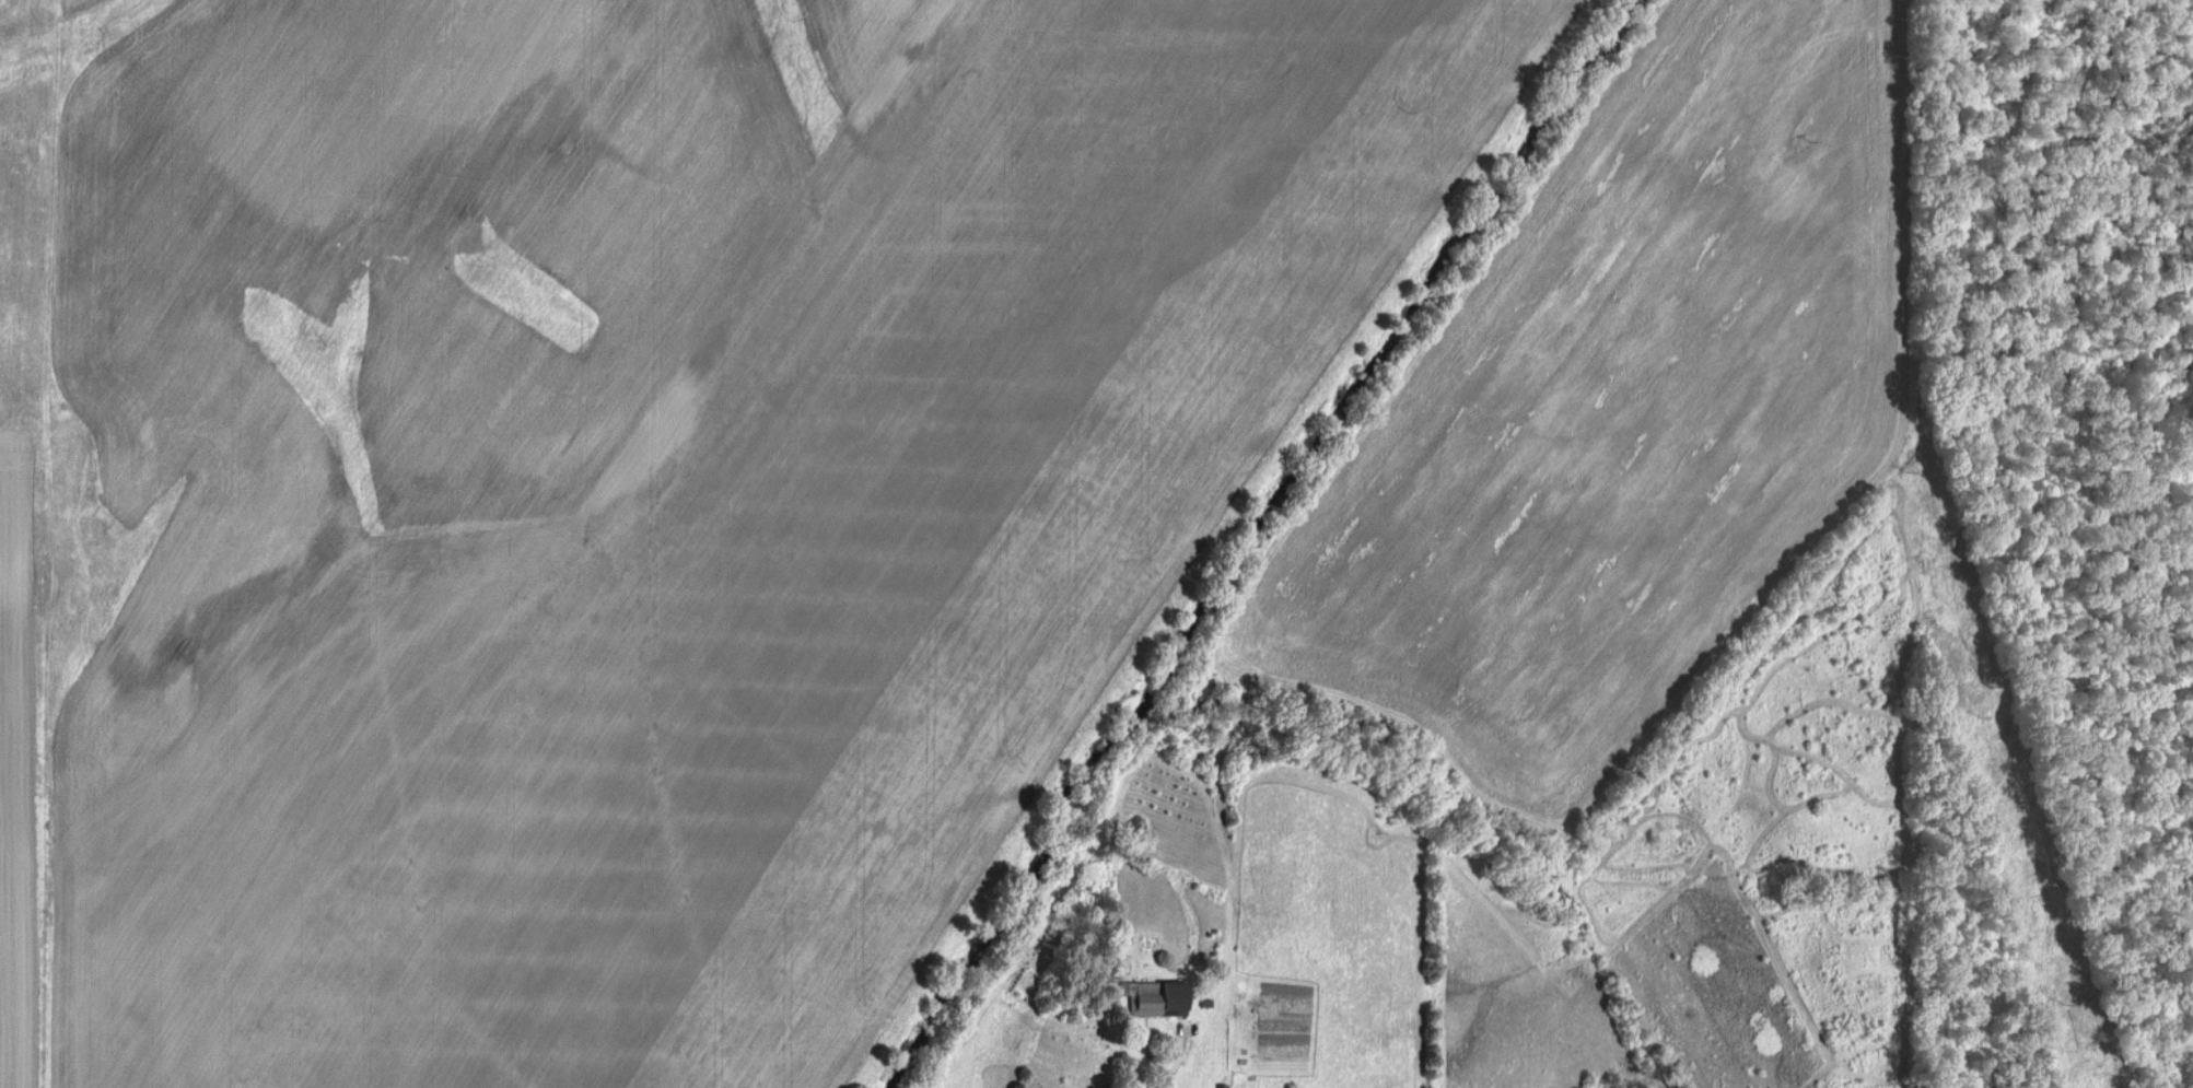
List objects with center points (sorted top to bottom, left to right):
building: (1156, 997)
road: (1146, 1054)
road: (1176, 1063)

